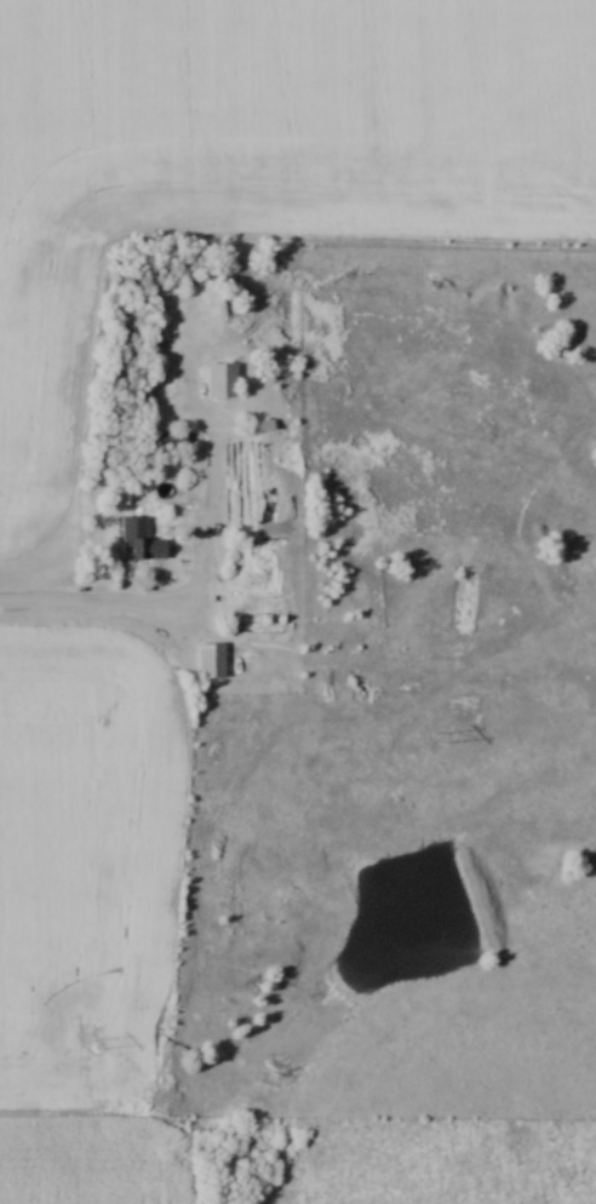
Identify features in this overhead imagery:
building: (235, 303)
building: (224, 382)
building: (262, 426)
building: (150, 550)
road: (138, 602)
building: (214, 663)
power tower: (439, 740)
power tower: (97, 1045)

